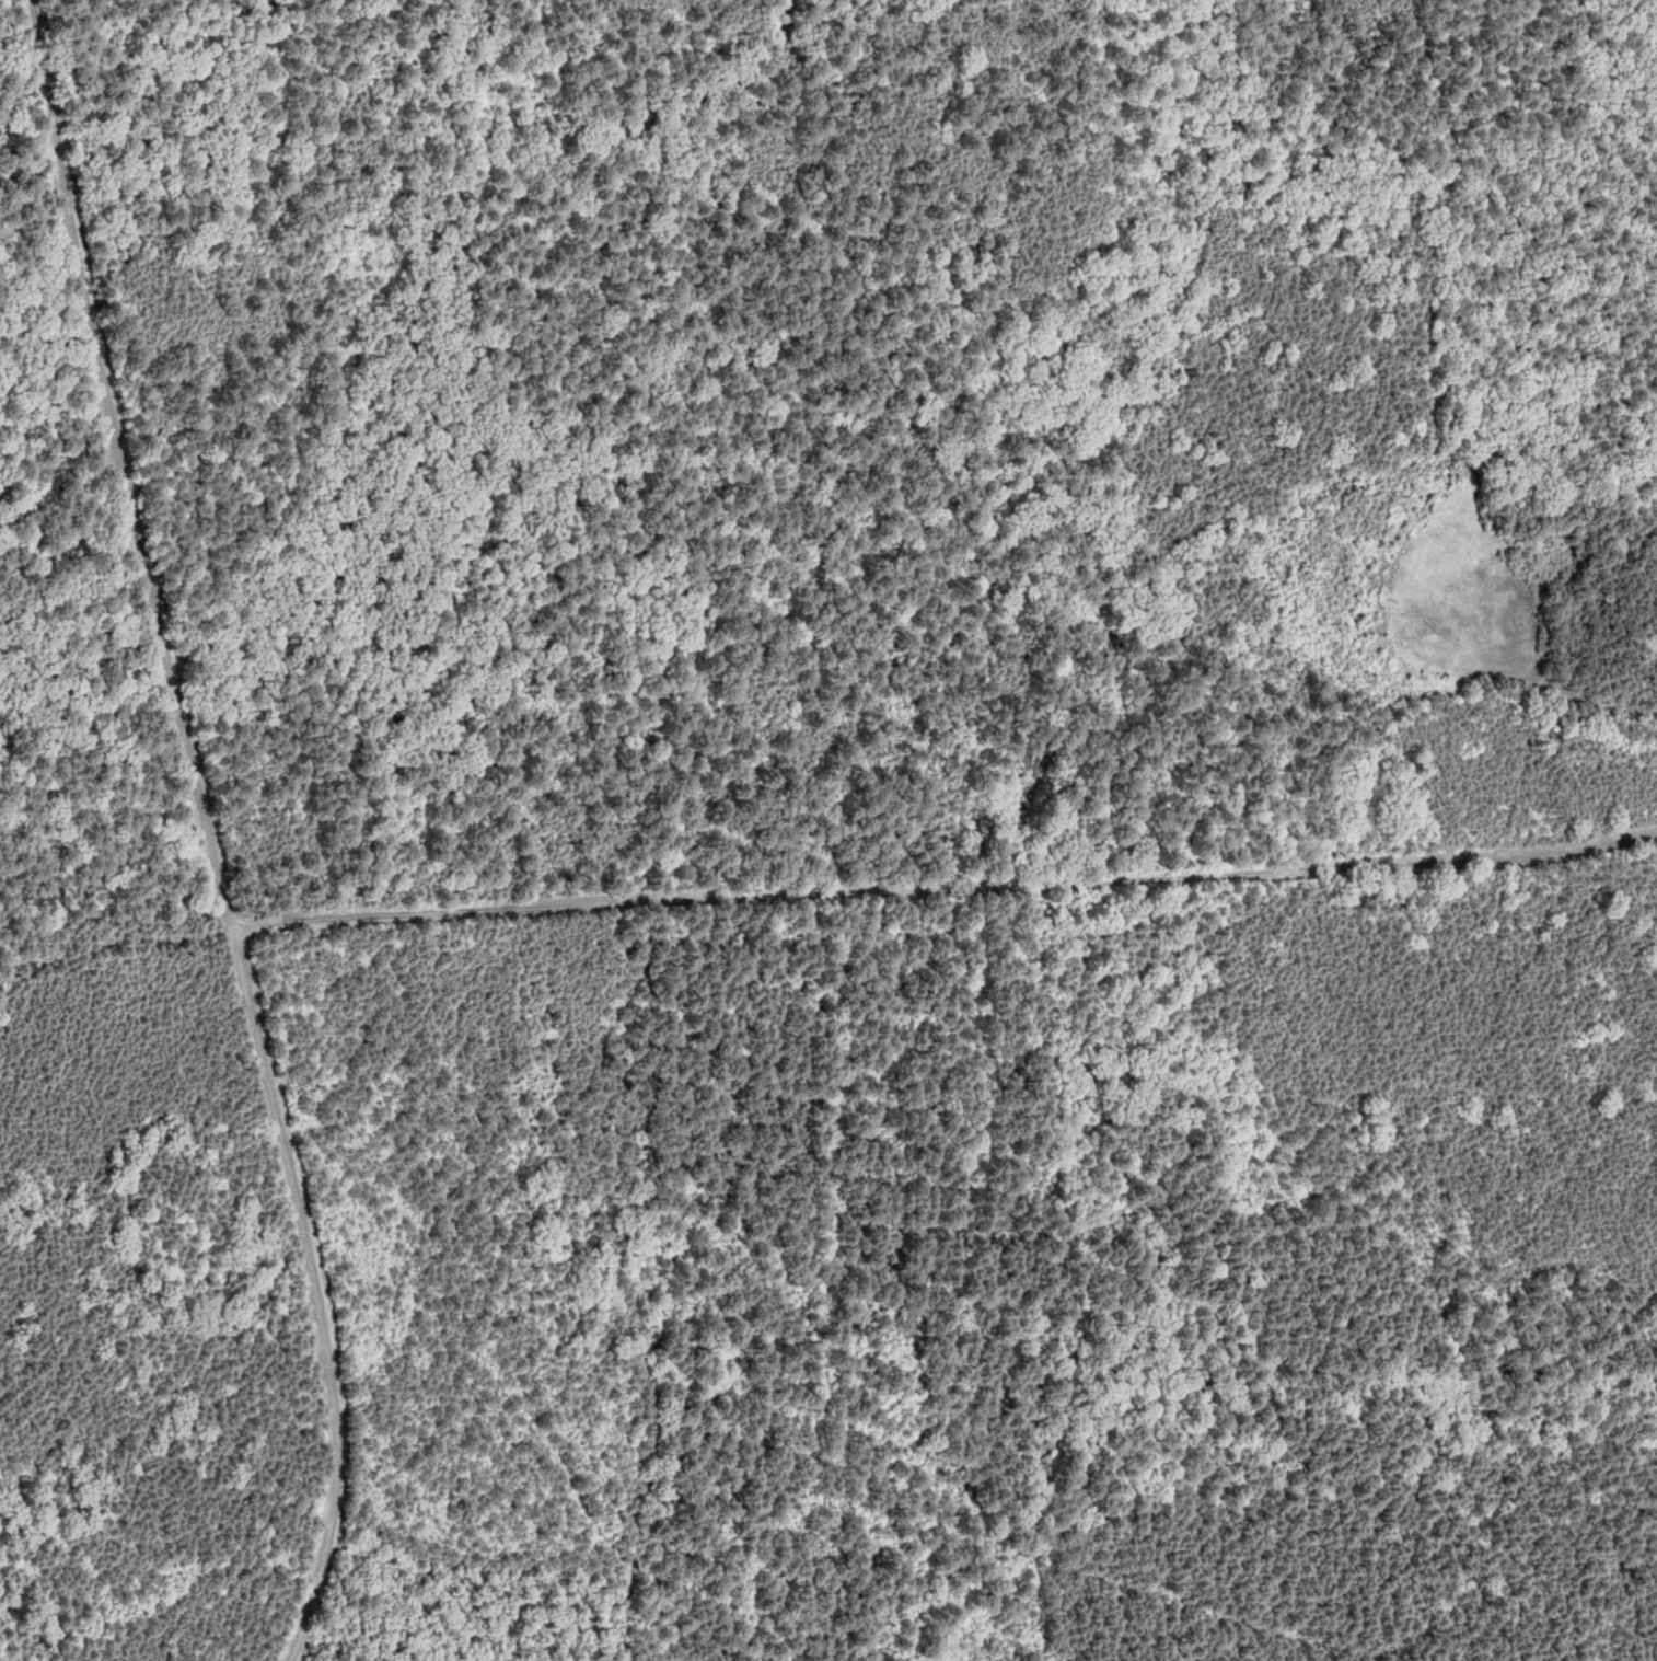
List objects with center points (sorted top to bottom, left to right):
road: (208, 831)
road: (947, 912)

